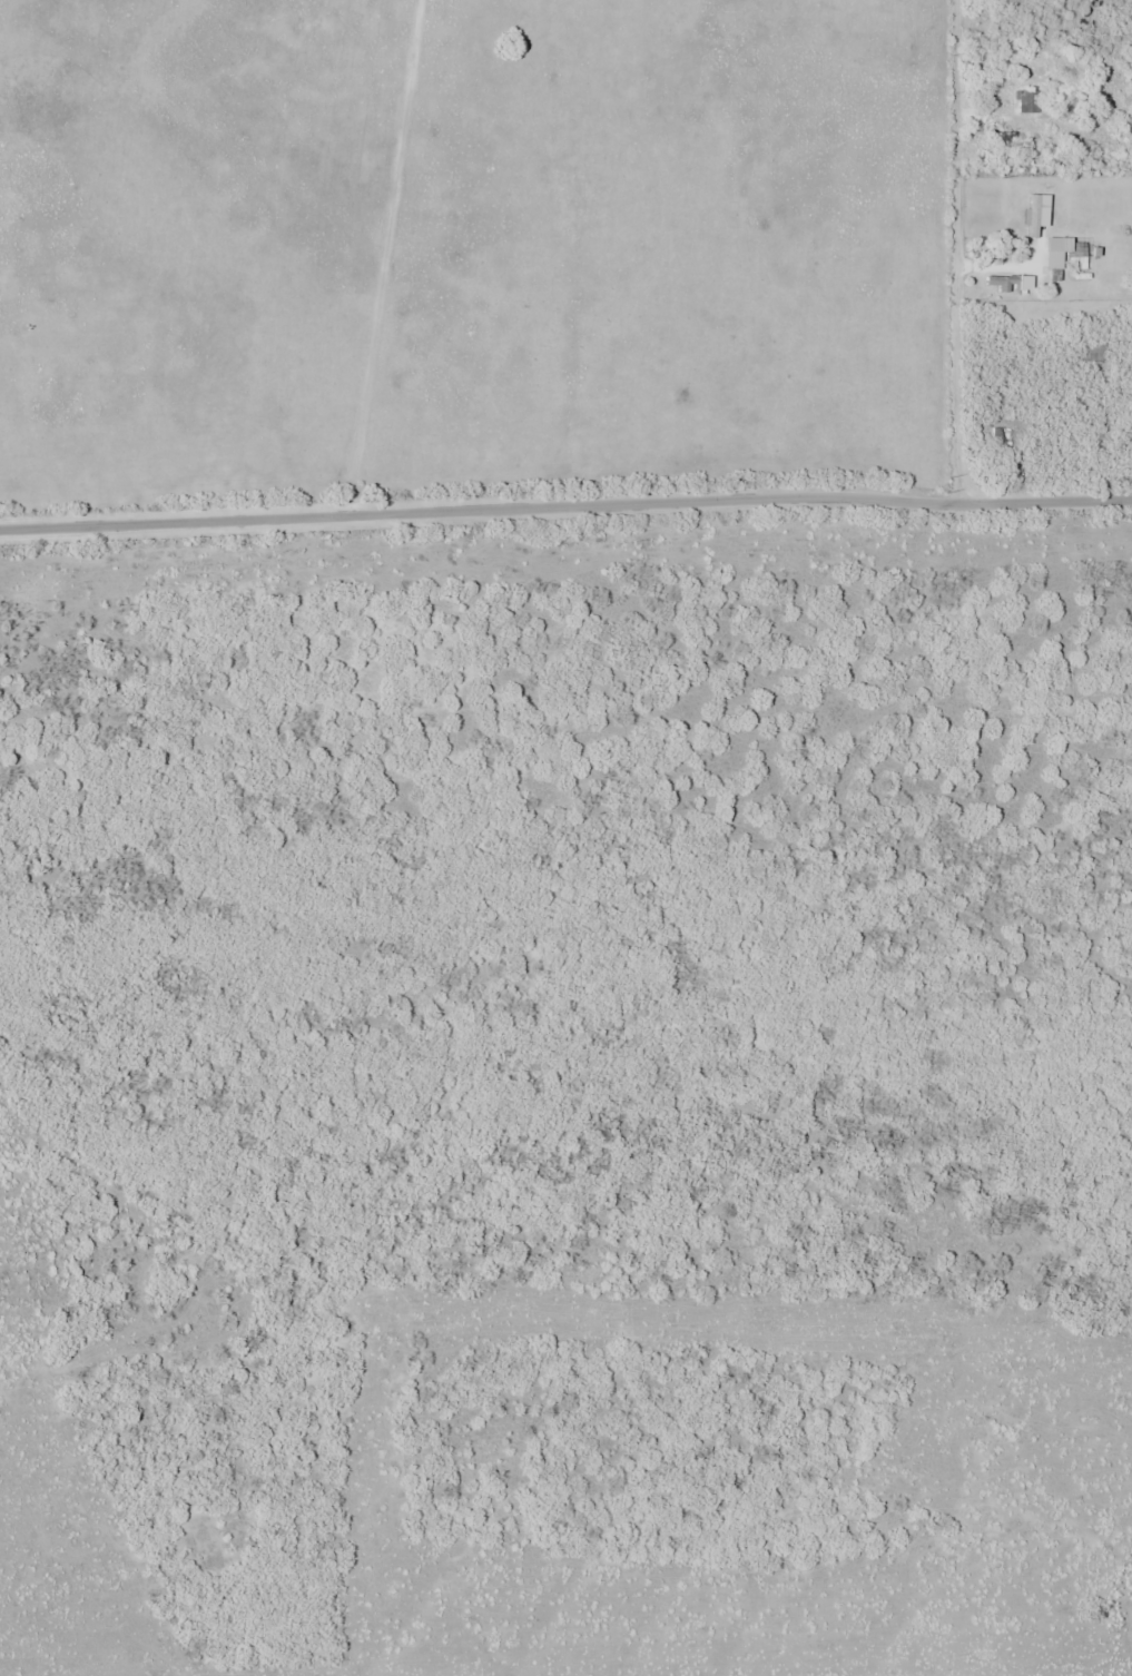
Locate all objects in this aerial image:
building: (1024, 101)
building: (1033, 215)
building: (1076, 252)
road: (957, 253)
building: (1054, 259)
building: (1014, 283)
road: (565, 505)

